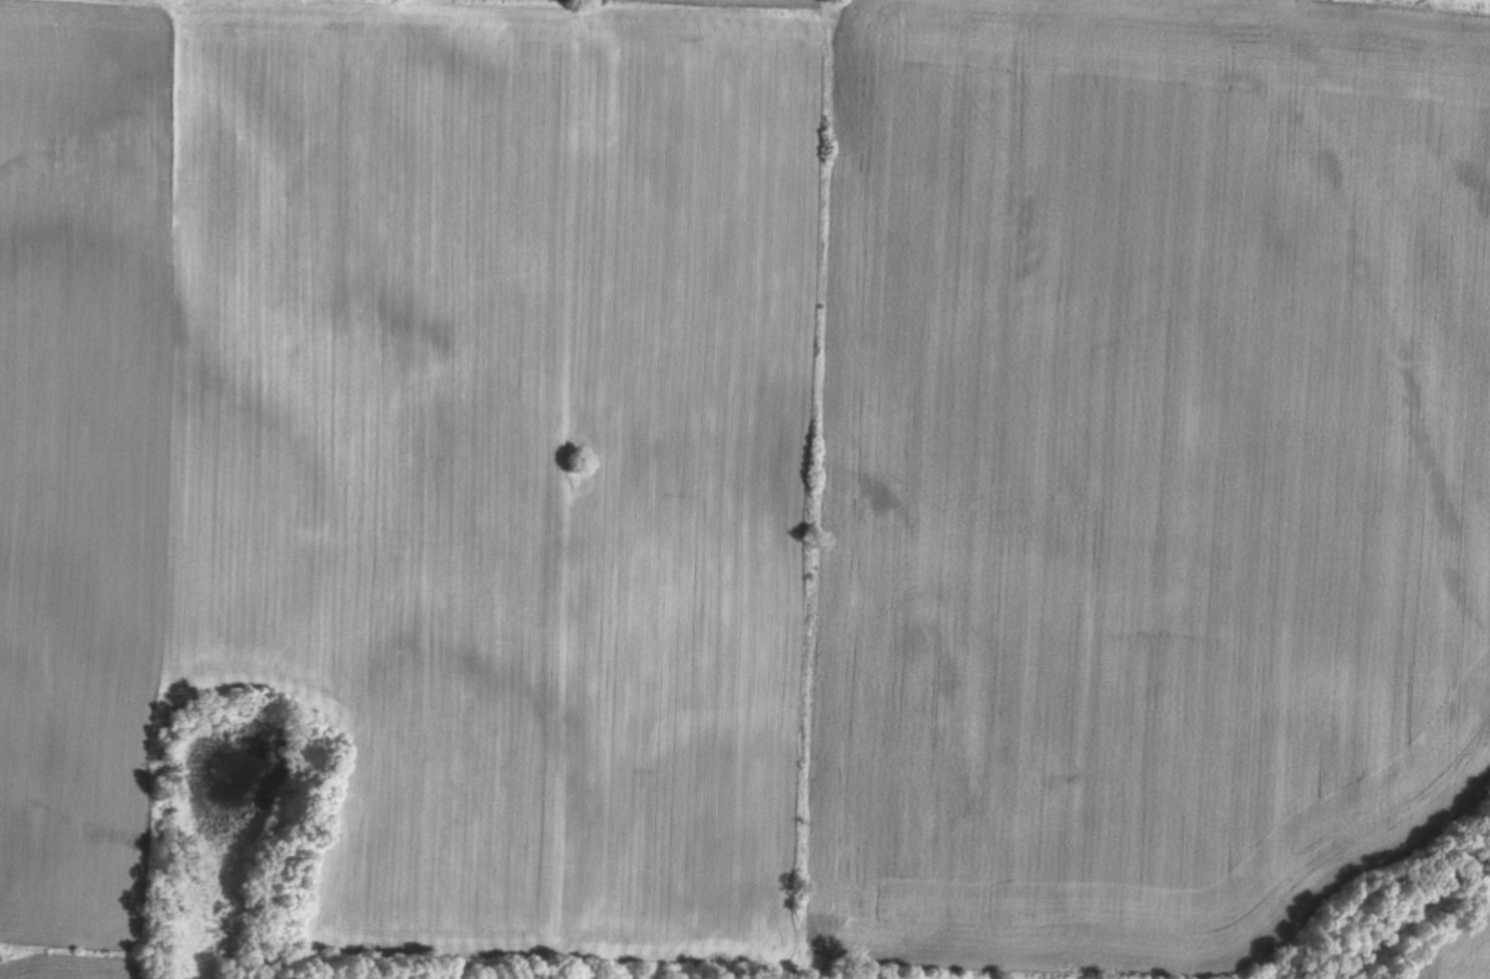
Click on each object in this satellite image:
road: (1422, 921)

